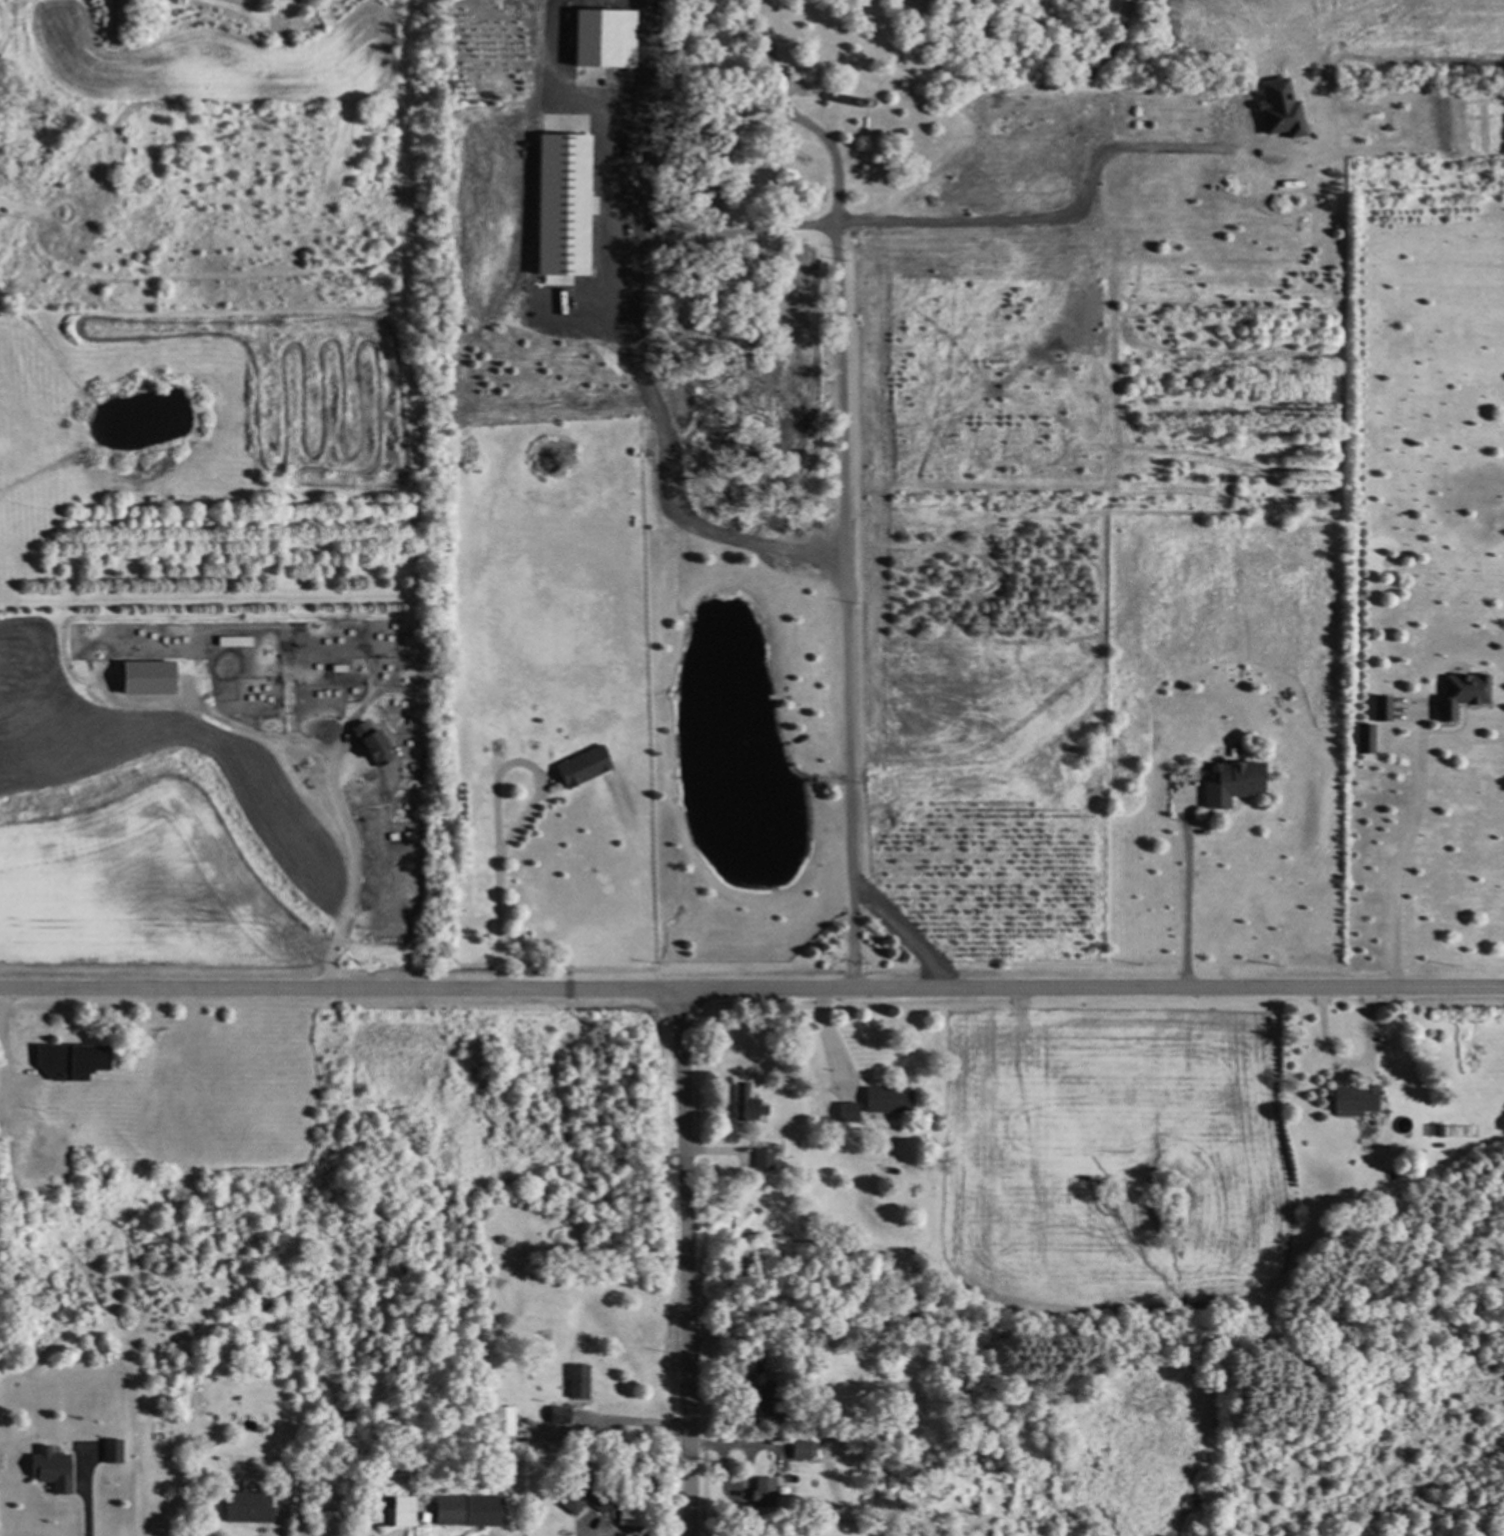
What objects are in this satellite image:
building: (120, 14)
building: (600, 39)
building: (1275, 110)
building: (589, 148)
building: (557, 206)
road: (1070, 214)
road: (637, 366)
road: (843, 480)
building: (231, 642)
building: (143, 679)
building: (1458, 694)
building: (1382, 708)
building: (369, 744)
building: (579, 766)
building: (1228, 783)
road: (333, 789)
road: (1405, 849)
road: (493, 879)
road: (1187, 905)
road: (905, 930)
road: (751, 987)
building: (67, 1061)
park: (206, 1080)
building: (1351, 1099)
building: (884, 1100)
building: (743, 1104)
road: (2, 1110)
building: (844, 1112)
parking lot: (29, 1137)
building: (761, 1157)
road: (685, 1261)
building: (575, 1381)
building: (556, 1415)
building: (501, 1421)
road: (739, 1445)
building: (798, 1450)
building: (110, 1451)
building: (47, 1469)
building: (760, 1492)
road: (86, 1495)
building: (569, 1502)
building: (244, 1507)
building: (390, 1511)
building: (464, 1511)
building: (627, 1511)

